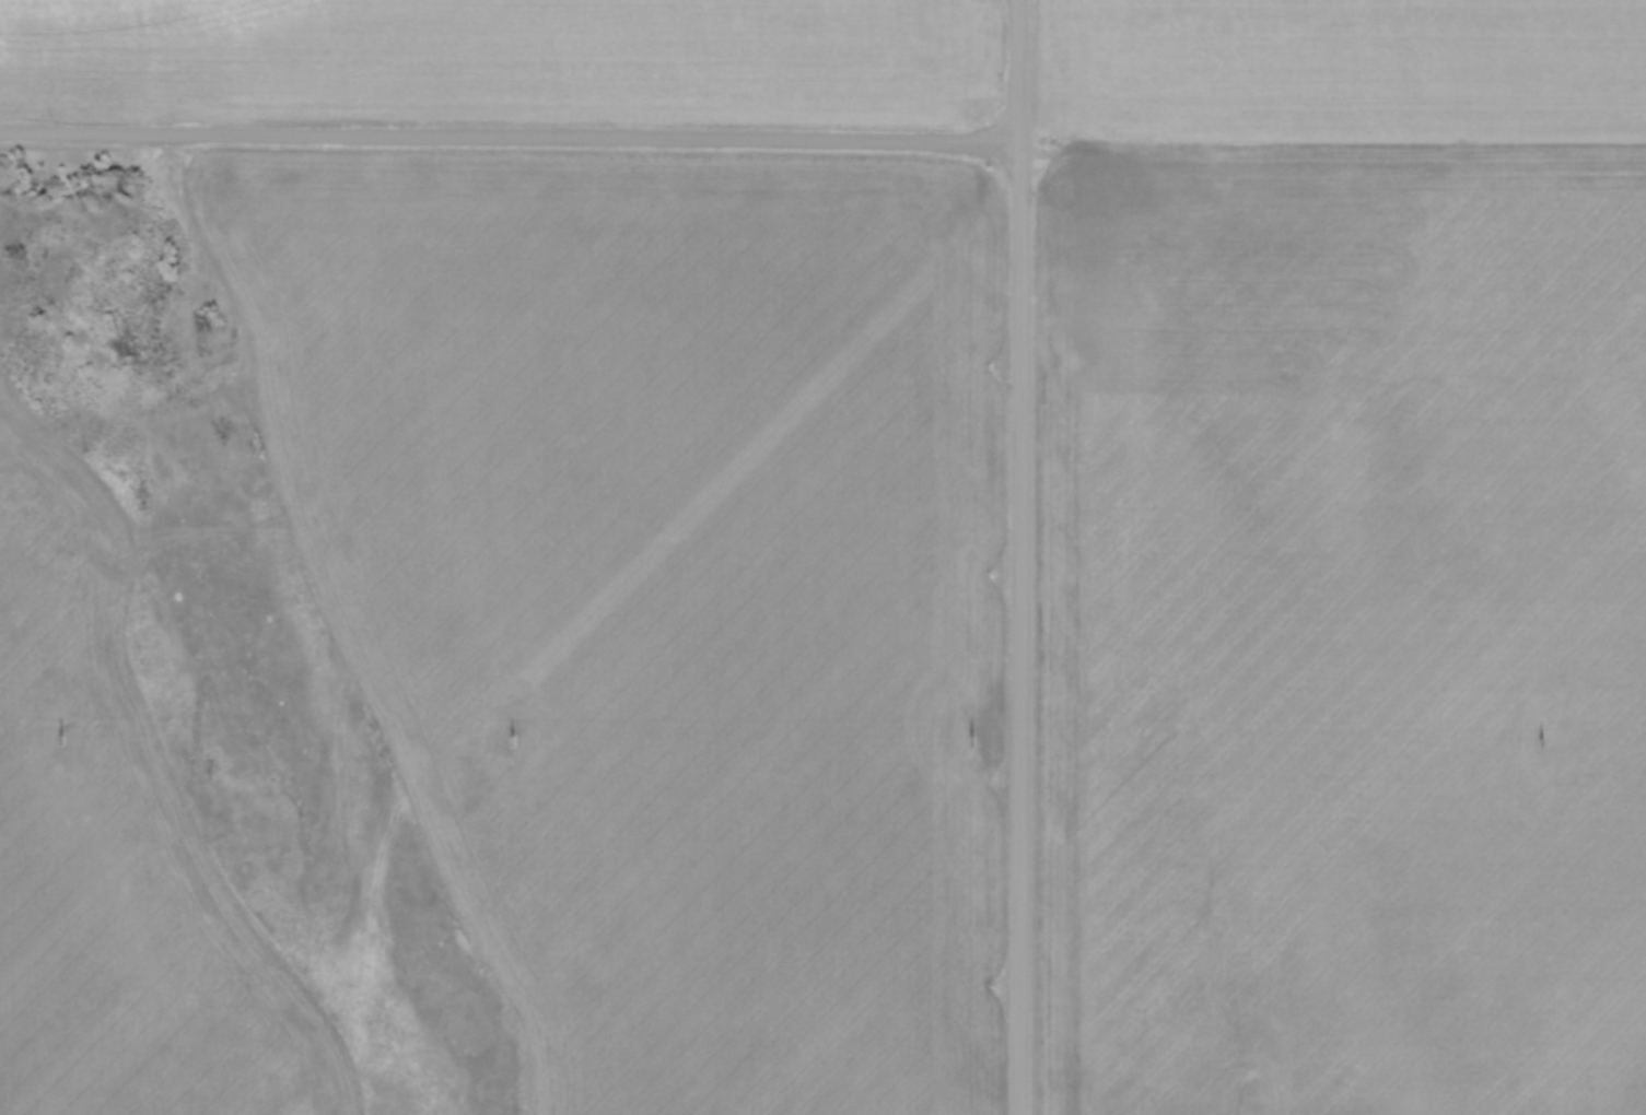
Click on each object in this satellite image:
crop: (505, 60)
road: (511, 139)
road: (1024, 556)
crop: (1347, 557)
crop: (666, 588)
power tower: (58, 741)
power tower: (976, 741)
power tower: (1545, 743)
crop: (121, 852)
power tower: (651, 1084)

